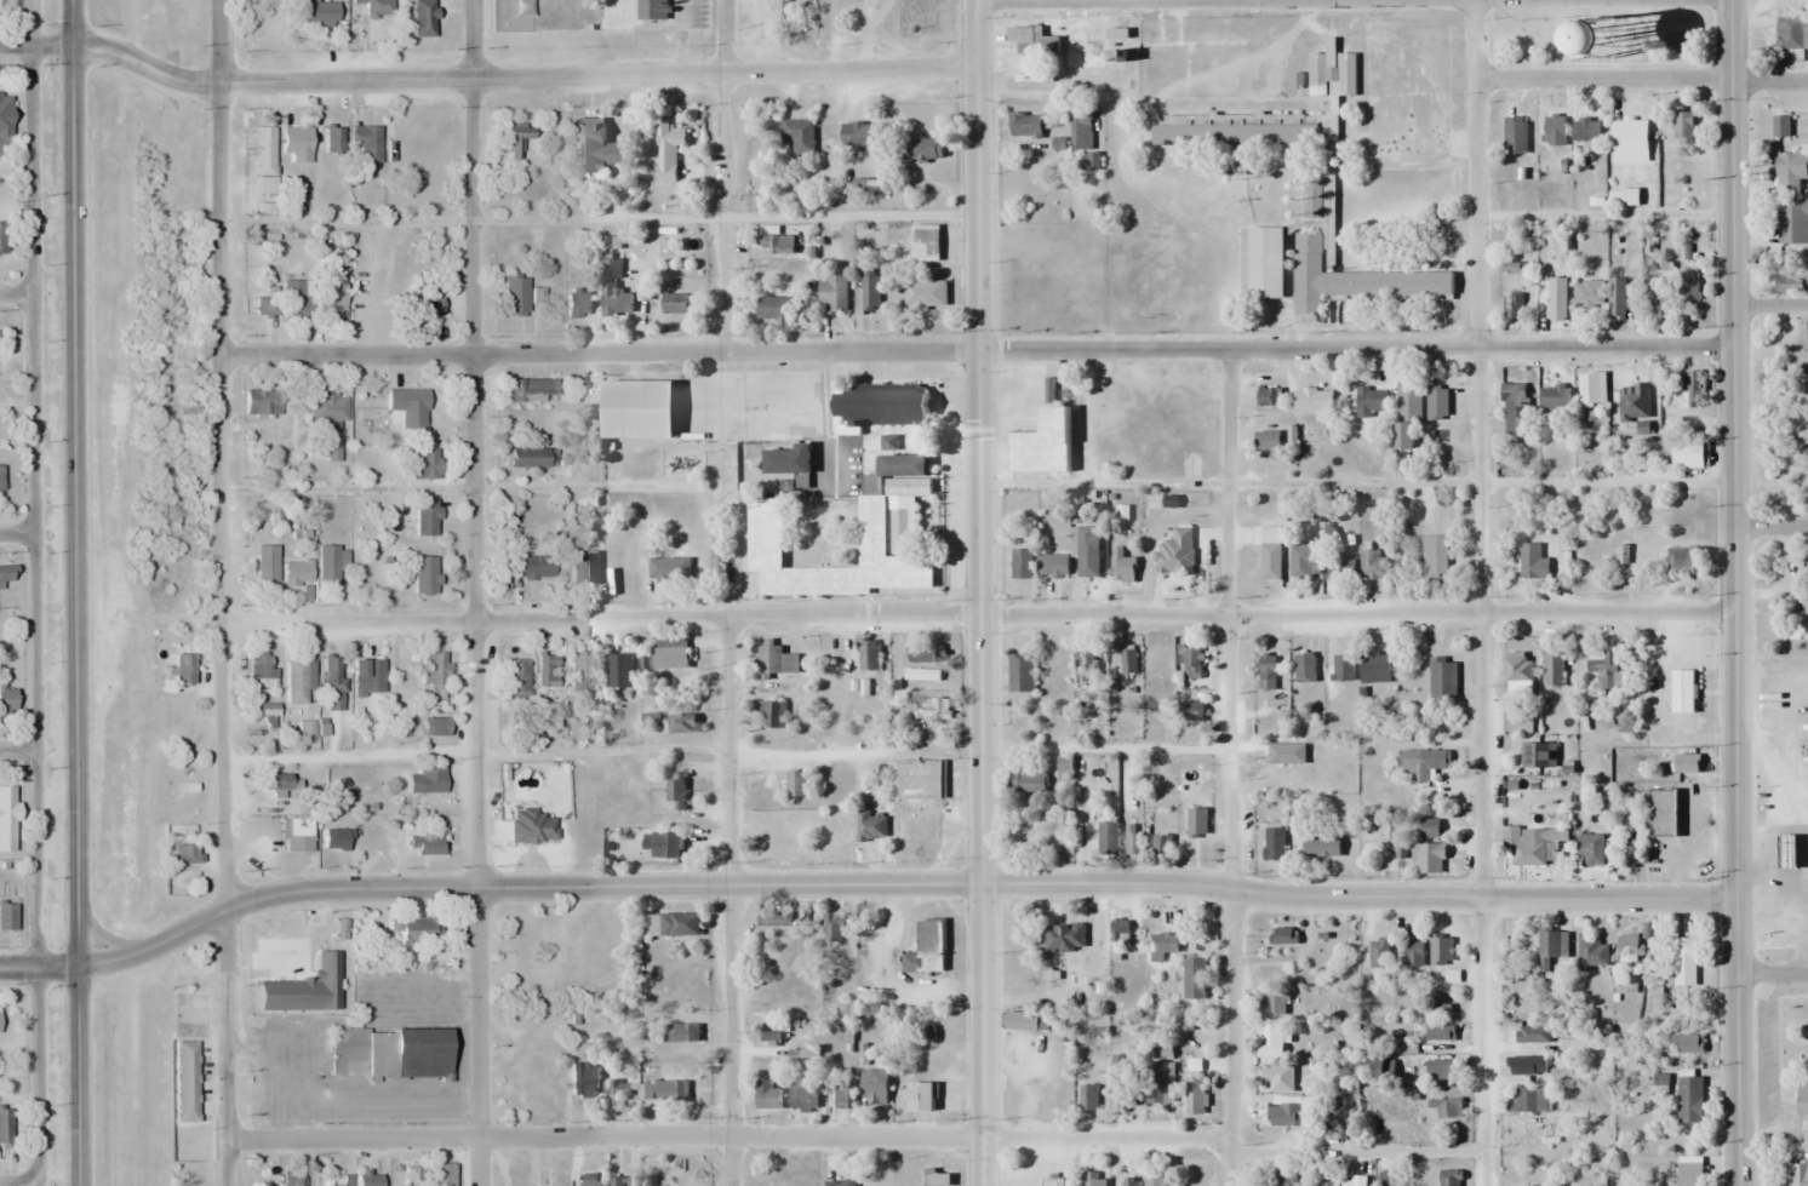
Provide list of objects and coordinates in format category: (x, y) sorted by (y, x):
road: (1226, 0)
road: (1352, 1)
building: (378, 8)
building: (653, 10)
building: (317, 12)
building: (422, 18)
building: (1791, 33)
building: (1606, 34)
water tower: (1606, 34)
road: (15, 44)
building: (1318, 73)
building: (1346, 74)
road: (499, 78)
road: (1642, 79)
road: (723, 87)
building: (4, 115)
building: (1682, 125)
building: (1024, 126)
building: (1780, 127)
building: (1081, 128)
building: (1555, 130)
building: (1586, 130)
building: (799, 134)
building: (860, 134)
building: (1236, 134)
building: (1515, 136)
building: (331, 138)
building: (516, 139)
building: (1629, 141)
building: (296, 142)
building: (365, 144)
building: (594, 147)
building: (921, 148)
building: (668, 151)
building: (263, 159)
building: (1789, 170)
building: (428, 193)
building: (1791, 220)
building: (2, 236)
building: (777, 243)
building: (925, 243)
building: (1311, 247)
building: (1265, 262)
building: (612, 268)
building: (1790, 285)
building: (1687, 286)
road: (723, 290)
building: (870, 292)
building: (1654, 292)
building: (515, 293)
building: (833, 293)
road: (16, 294)
building: (925, 294)
building: (1589, 294)
building: (330, 297)
building: (291, 298)
building: (1617, 299)
building: (616, 302)
building: (1557, 302)
building: (427, 304)
building: (578, 304)
building: (676, 304)
road: (1769, 304)
building: (1512, 305)
building: (265, 306)
building: (774, 309)
building: (1807, 331)
road: (977, 351)
building: (527, 390)
building: (1591, 390)
building: (1684, 393)
building: (589, 394)
building: (1555, 396)
building: (1266, 397)
building: (263, 401)
building: (1312, 401)
building: (1371, 402)
building: (1634, 402)
building: (1437, 403)
building: (328, 406)
building: (408, 406)
building: (880, 406)
building: (1515, 409)
building: (1406, 414)
building: (1269, 443)
building: (1041, 445)
building: (1683, 456)
building: (530, 457)
building: (788, 460)
building: (423, 463)
building: (904, 465)
building: (0, 477)
building: (1076, 509)
building: (425, 517)
road: (1770, 528)
building: (887, 529)
road: (17, 534)
building: (1087, 552)
building: (1434, 556)
building: (1304, 561)
building: (1532, 561)
building: (1681, 561)
building: (1270, 562)
building: (267, 563)
building: (328, 565)
building: (584, 565)
building: (1022, 565)
building: (1122, 565)
building: (1373, 565)
building: (531, 566)
building: (1052, 566)
building: (1340, 567)
building: (669, 568)
building: (296, 572)
building: (425, 574)
building: (4, 575)
building: (1807, 581)
road: (34, 589)
road: (75, 592)
railway: (138, 592)
road: (223, 592)
road: (474, 592)
road: (979, 592)
road: (1478, 592)
road: (1733, 592)
road: (978, 617)
building: (926, 654)
building: (869, 655)
building: (670, 658)
building: (1128, 660)
building: (777, 661)
building: (835, 661)
building: (1192, 663)
building: (579, 664)
building: (1086, 666)
building: (1374, 666)
building: (1518, 668)
building: (1554, 668)
building: (183, 669)
building: (1304, 669)
building: (1343, 669)
building: (1608, 669)
building: (547, 670)
building: (619, 671)
building: (1266, 672)
building: (434, 674)
building: (1020, 674)
building: (921, 676)
building: (368, 677)
building: (515, 678)
building: (1442, 678)
building: (297, 680)
building: (333, 683)
building: (1682, 692)
building: (6, 701)
building: (931, 709)
building: (1194, 711)
building: (772, 715)
building: (681, 724)
building: (1522, 724)
building: (436, 727)
building: (305, 728)
road: (18, 750)
building: (1538, 755)
building: (1421, 764)
building: (1687, 764)
road: (1230, 768)
building: (1064, 769)
building: (1158, 778)
building: (425, 780)
building: (915, 780)
building: (1028, 783)
building: (278, 785)
building: (796, 785)
building: (676, 789)
building: (1660, 814)
building: (6, 818)
building: (1196, 823)
building: (297, 826)
building: (532, 826)
building: (871, 827)
building: (1429, 829)
building: (1108, 838)
building: (333, 840)
building: (1133, 840)
building: (1275, 843)
building: (1160, 844)
building: (427, 846)
building: (1321, 846)
building: (671, 848)
building: (1590, 849)
building: (1786, 852)
building: (1534, 853)
building: (184, 854)
building: (1427, 859)
road: (979, 883)
road: (731, 903)
building: (6, 905)
building: (774, 919)
building: (671, 926)
building: (833, 928)
building: (416, 930)
building: (1120, 934)
building: (1280, 935)
building: (1064, 938)
building: (1446, 945)
building: (1163, 946)
building: (1551, 946)
building: (1627, 947)
building: (926, 950)
building: (1591, 951)
building: (1379, 952)
building: (1413, 953)
road: (118, 957)
building: (1686, 962)
road: (1772, 972)
building: (1195, 979)
building: (303, 987)
building: (1274, 1002)
building: (1020, 1021)
building: (1440, 1031)
building: (681, 1033)
building: (1532, 1035)
building: (1270, 1044)
building: (1687, 1044)
building: (388, 1052)
building: (1528, 1065)
building: (1380, 1070)
building: (1438, 1070)
building: (1271, 1075)
building: (1123, 1078)
building: (584, 1082)
building: (1160, 1082)
building: (874, 1087)
building: (664, 1092)
building: (845, 1094)
building: (1195, 1095)
building: (767, 1096)
building: (921, 1096)
building: (802, 1098)
building: (1088, 1099)
building: (1689, 1100)
building: (1528, 1101)
building: (1802, 1101)
building: (1447, 1108)
building: (1289, 1112)
building: (4, 1125)
building: (1533, 1133)
road: (727, 1140)
road: (1357, 1151)
building: (441, 1174)
building: (1689, 1174)
building: (1792, 1174)
building: (301, 1176)
building: (368, 1178)
building: (407, 1178)
building: (1449, 1178)
building: (937, 1179)
building: (1287, 1179)
building: (1390, 1179)
building: (1092, 1180)
building: (337, 1181)
building: (623, 1181)
building: (1156, 1181)
building: (1354, 1181)
building: (840, 1182)
building: (1055, 1182)
building: (1323, 1182)
road: (16, 1184)

